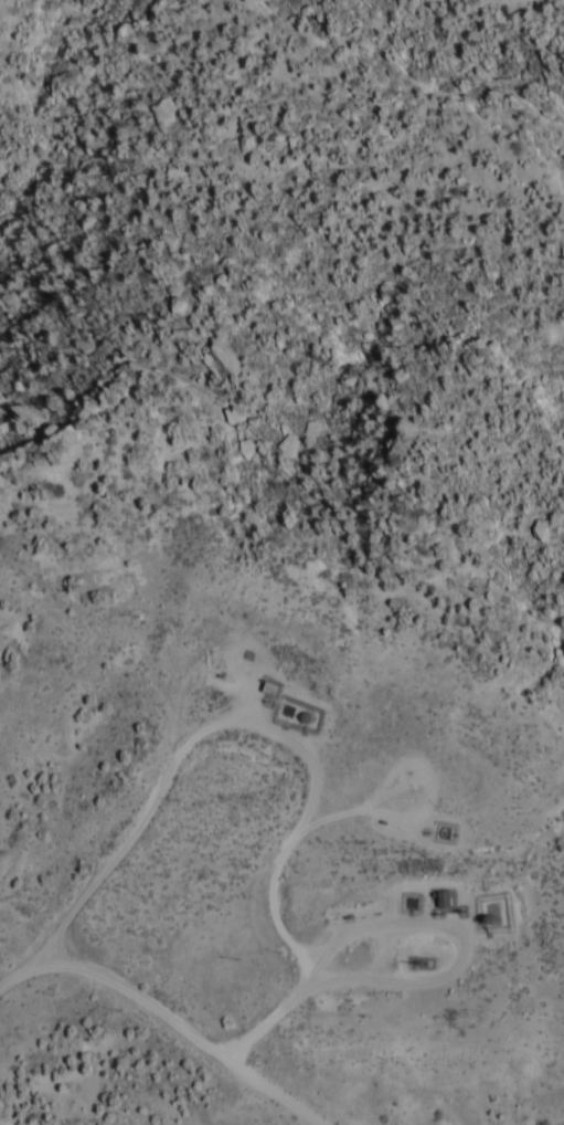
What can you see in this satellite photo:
building: (277, 687)
building: (451, 898)
road: (170, 1014)

